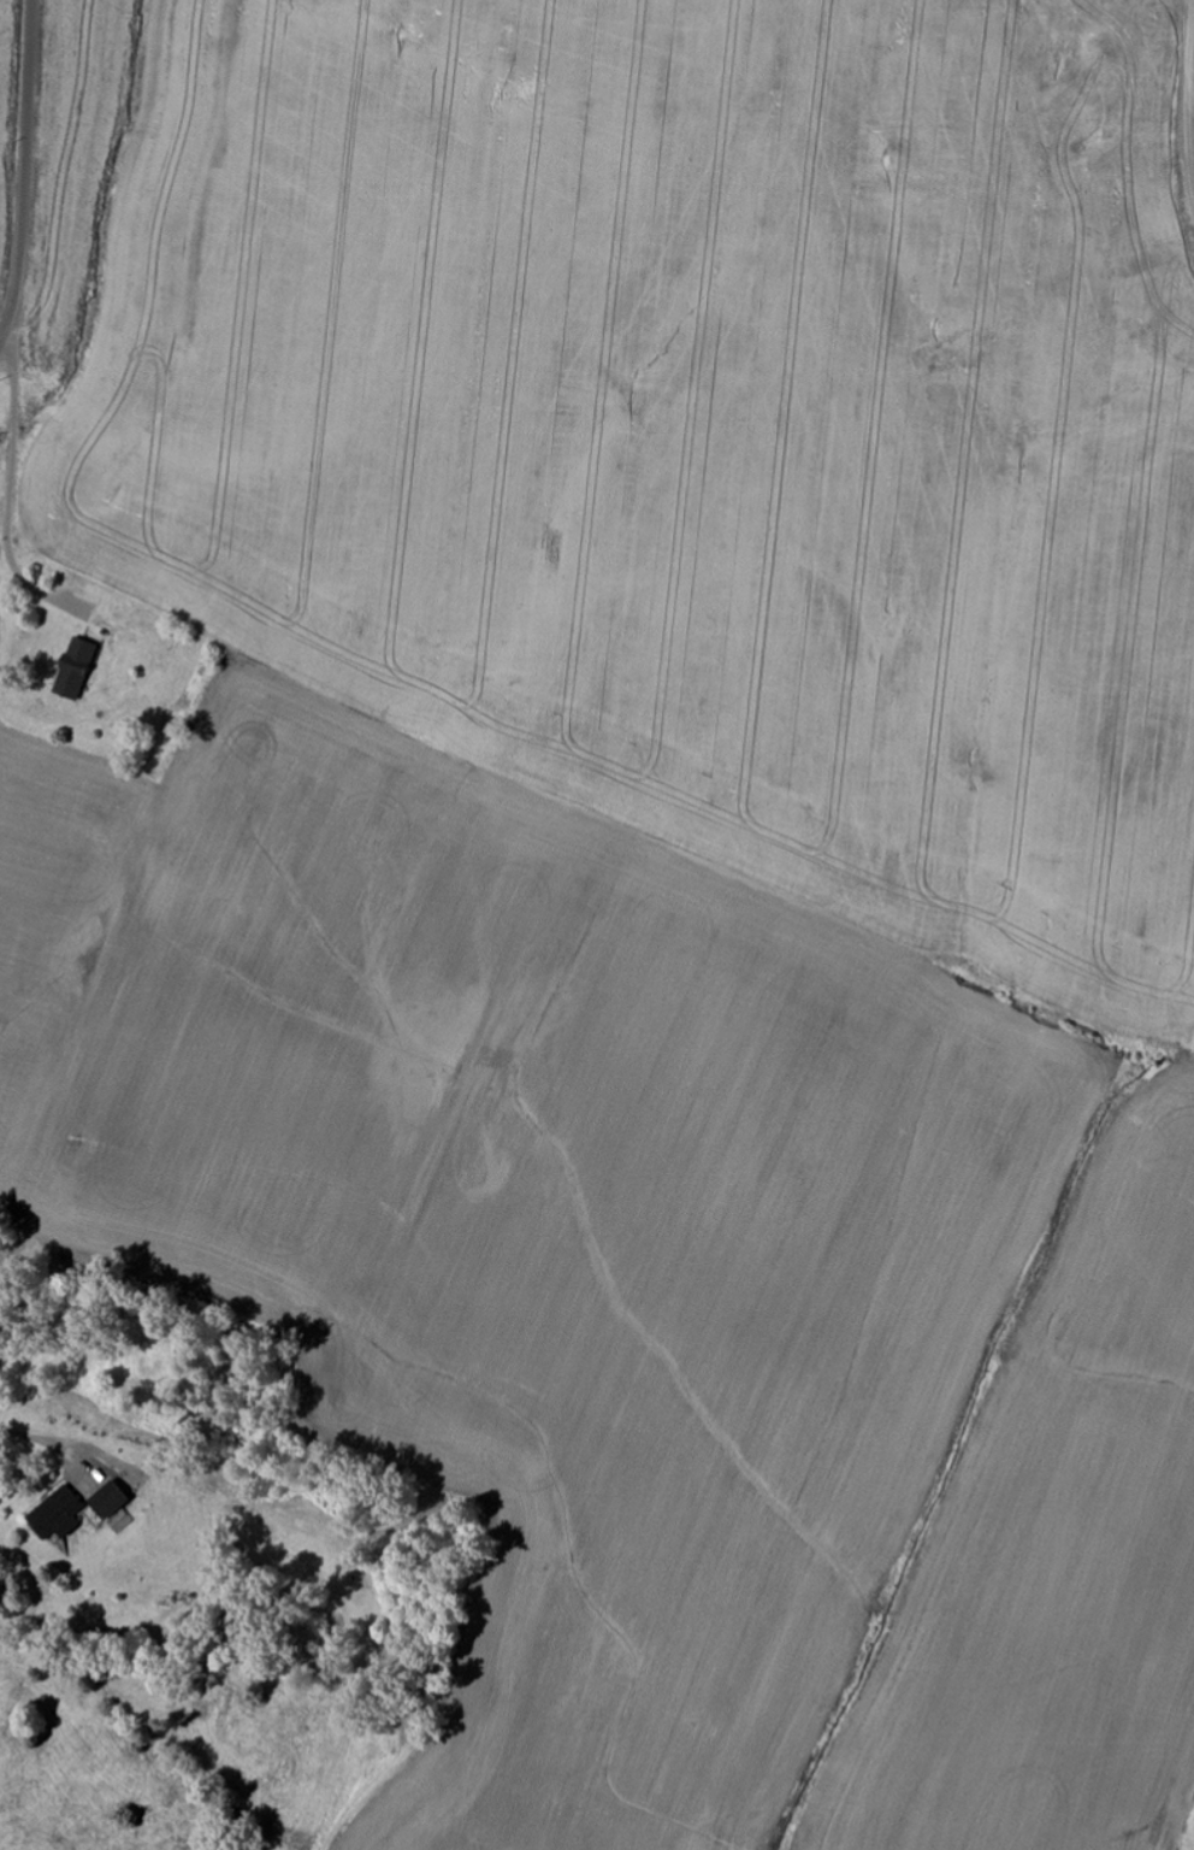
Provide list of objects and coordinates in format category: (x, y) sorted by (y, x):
road: (24, 169)
building: (72, 670)
building: (55, 1514)

